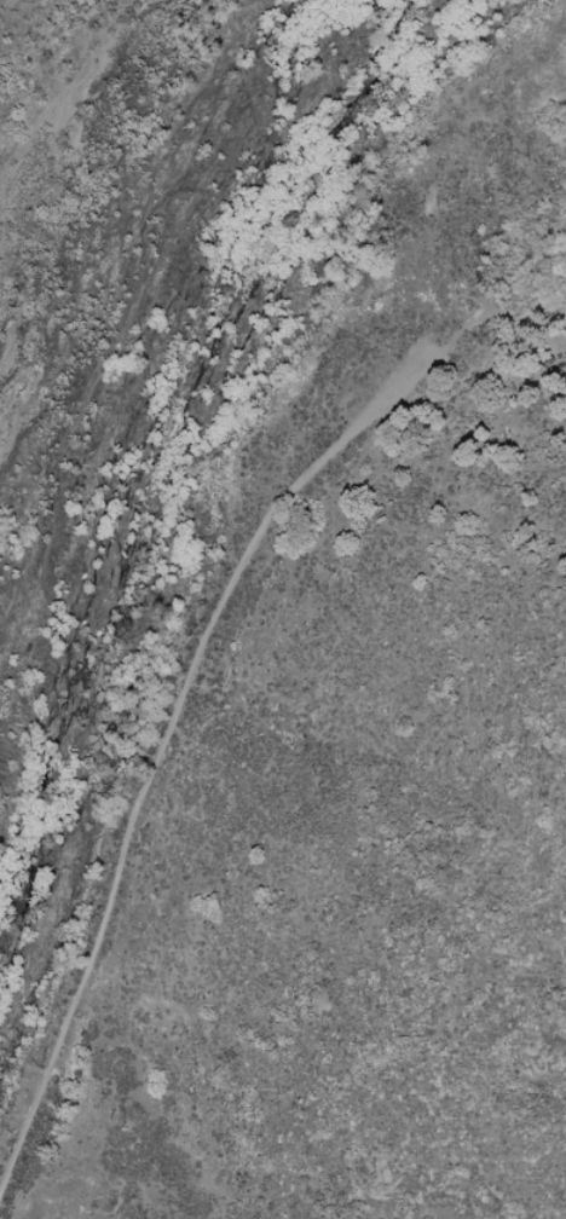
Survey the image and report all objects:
road: (490, 313)
river: (172, 386)
park: (283, 609)
road: (161, 738)

